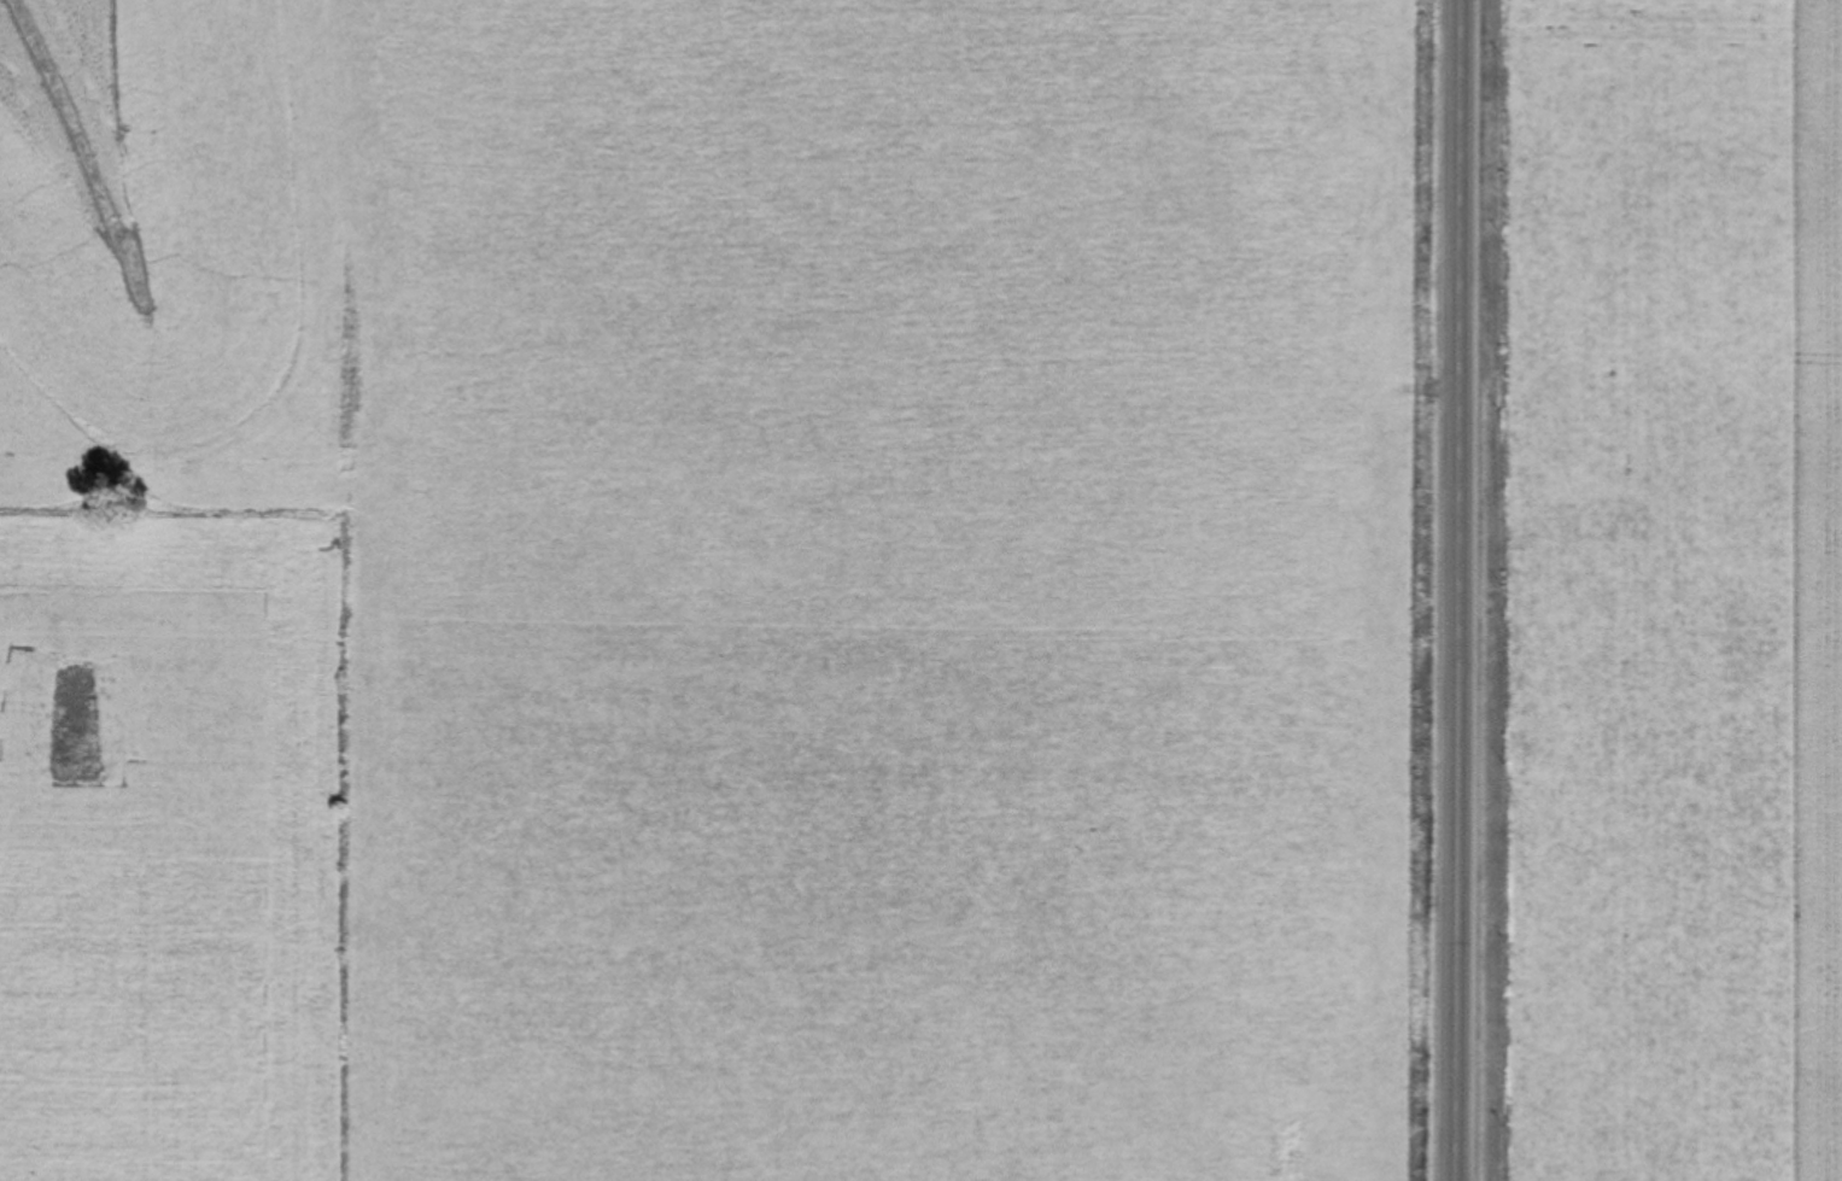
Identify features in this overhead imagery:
road: (1463, 590)

